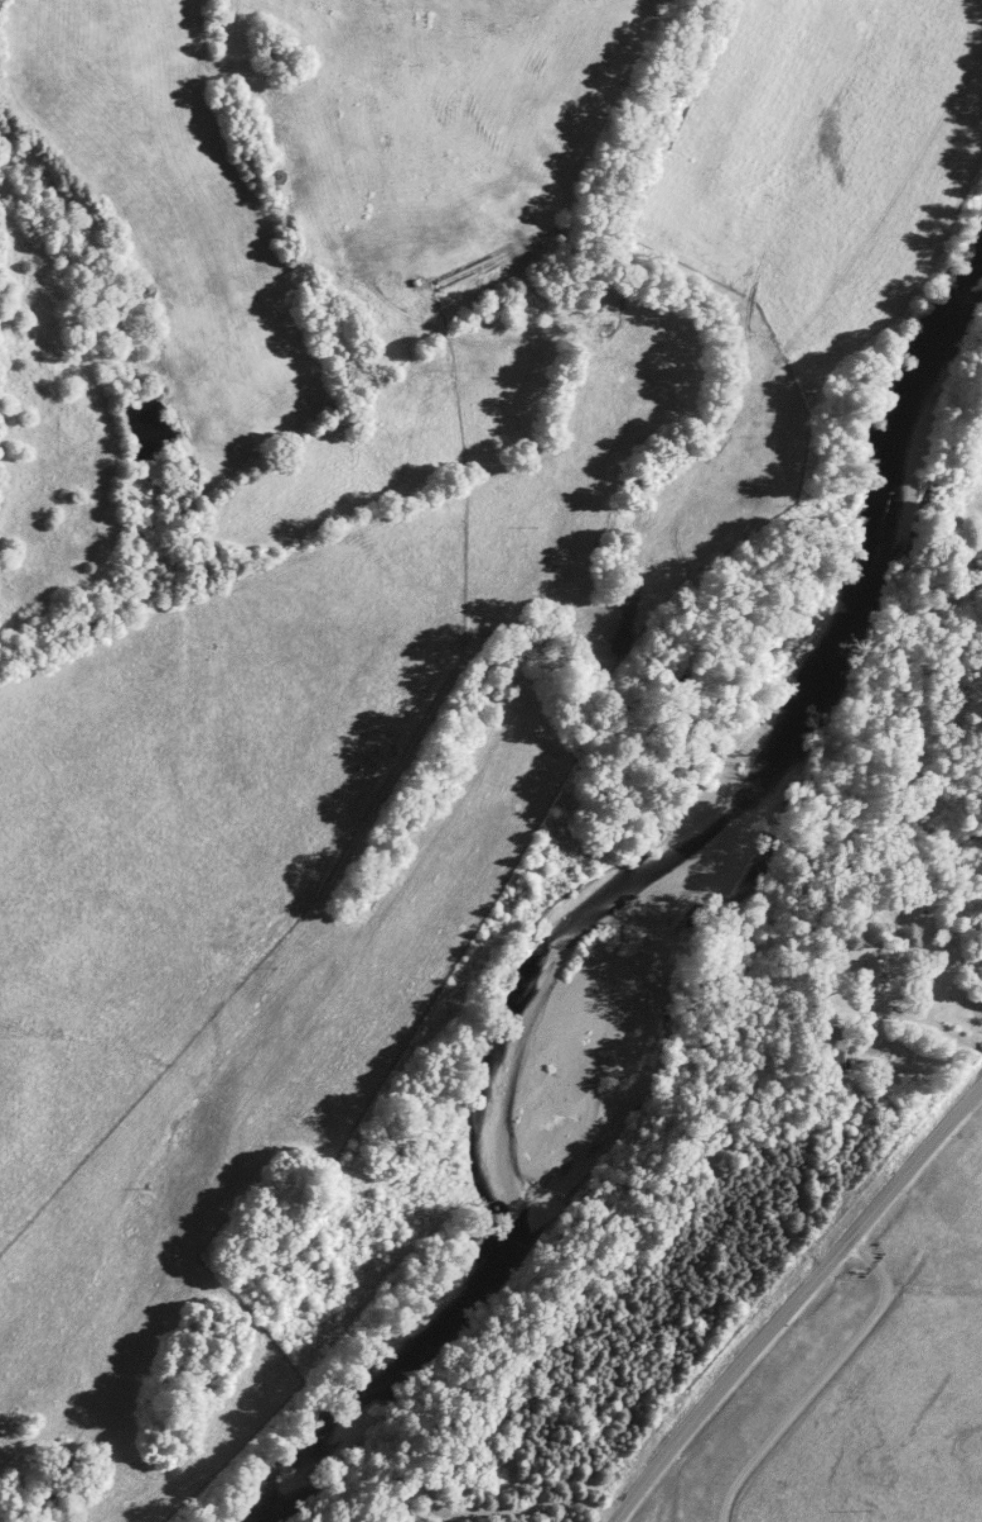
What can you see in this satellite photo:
crop: (799, 235)
river: (618, 884)
building: (870, 975)
road: (911, 1012)
building: (827, 1040)
road: (794, 1302)
building: (398, 1498)
road: (531, 1503)

